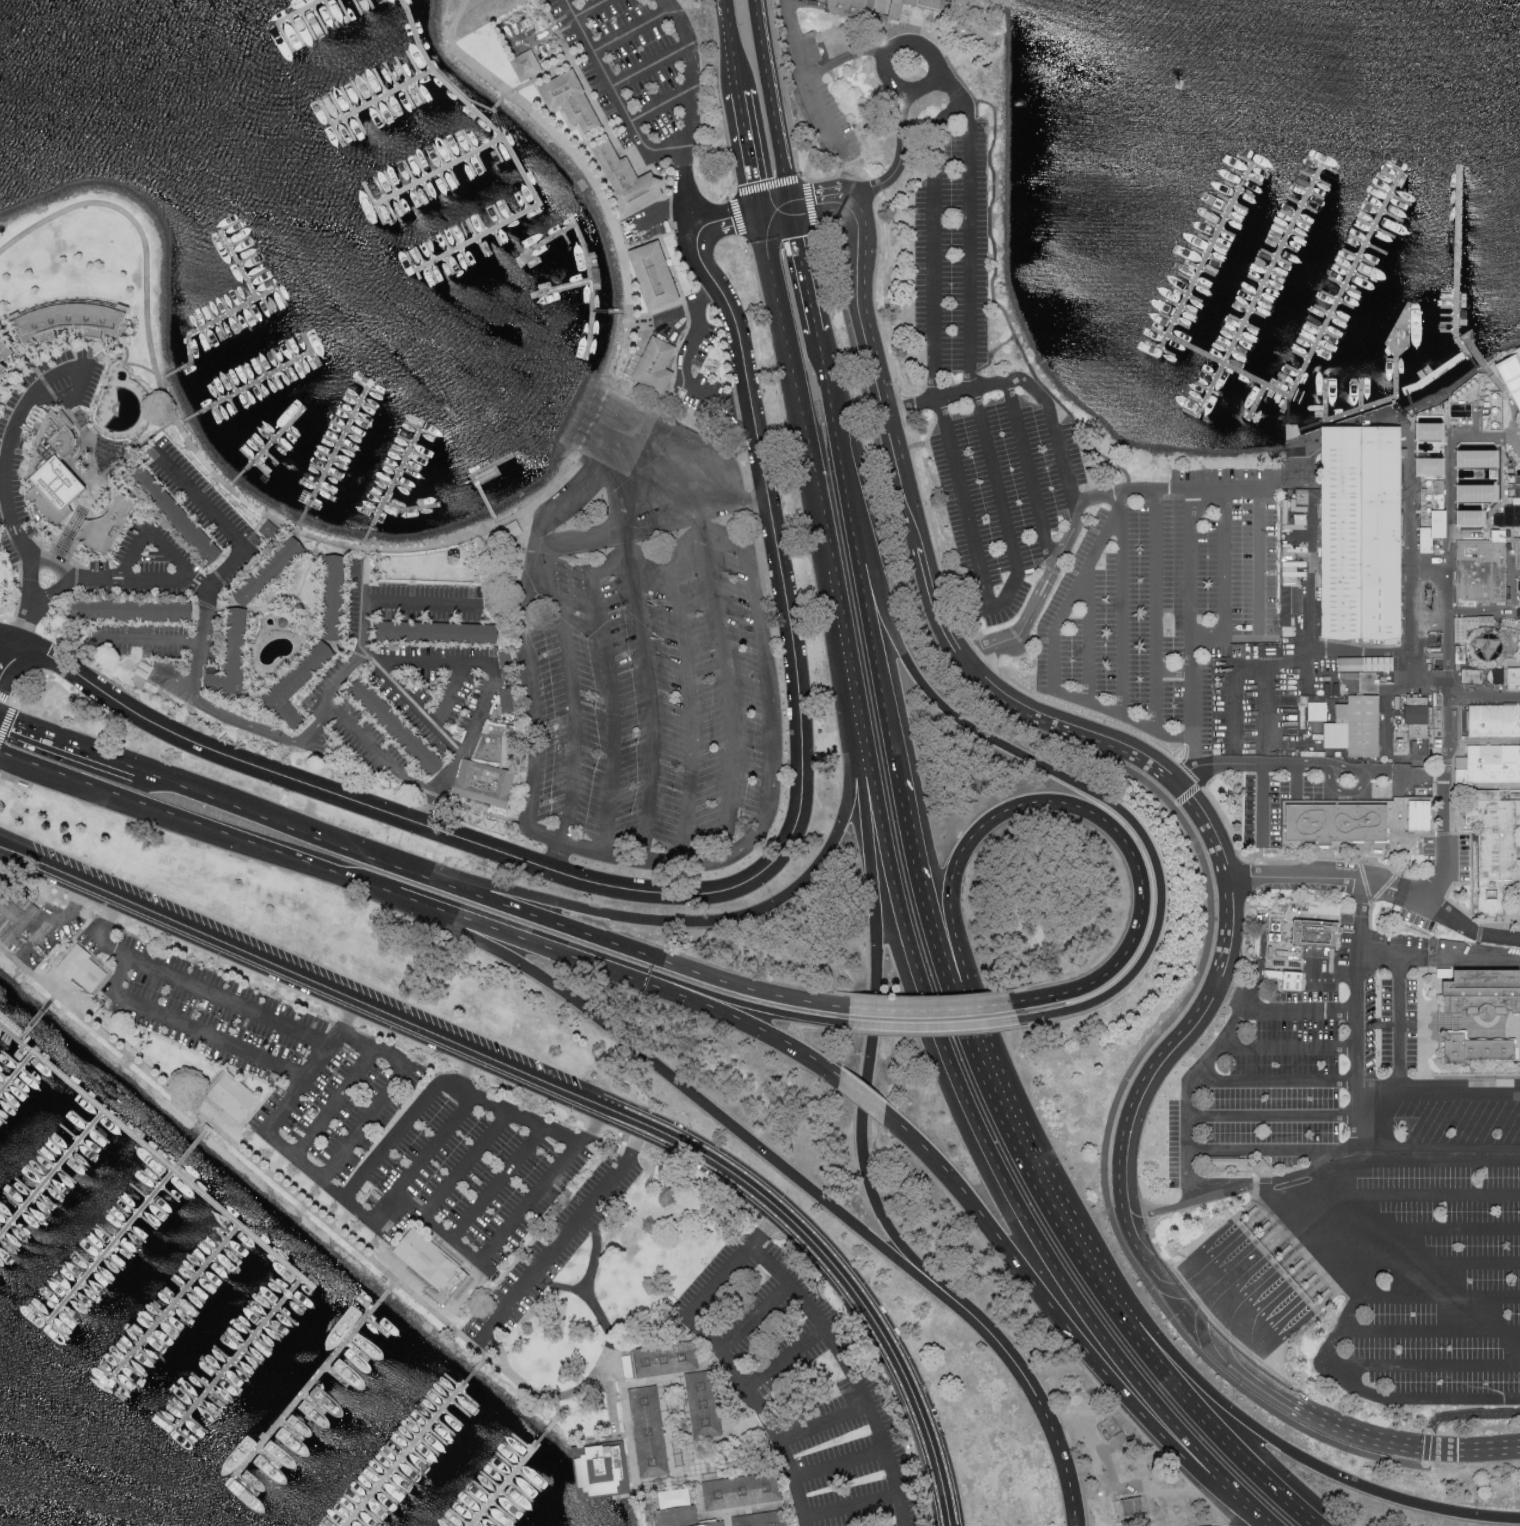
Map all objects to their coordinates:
road: (591, 8)
building: (875, 12)
pier: (302, 13)
road: (635, 30)
road: (922, 31)
building: (978, 34)
road: (795, 38)
road: (734, 49)
road: (850, 58)
building: (524, 64)
road: (652, 65)
road: (550, 67)
parking lot: (636, 74)
aerialway pylon: (1176, 85)
road: (614, 87)
pier: (383, 99)
building: (567, 99)
road: (777, 102)
road: (663, 105)
road: (687, 111)
parking lot: (824, 123)
road: (600, 131)
road: (833, 136)
road: (903, 140)
road: (751, 154)
pier: (515, 156)
pier: (465, 158)
road: (808, 162)
pier: (1255, 163)
pier: (1324, 164)
road: (972, 167)
pier: (1395, 168)
pier: (1248, 176)
pier: (1391, 176)
road: (594, 177)
building: (624, 178)
pier: (1317, 178)
road: (743, 190)
pier: (1241, 190)
pier: (1311, 192)
pier: (1395, 196)
pier: (1235, 203)
pier: (1304, 204)
traffic signals: (793, 205)
road: (777, 208)
traffic signals: (762, 211)
pier: (1387, 212)
road: (733, 215)
pier: (1229, 216)
road: (659, 217)
pier: (1297, 218)
pier: (1378, 228)
pier: (1222, 229)
pier: (1291, 231)
road: (643, 242)
pier: (1215, 242)
pier: (1284, 244)
pier: (1370, 245)
park: (80, 249)
pier: (1207, 255)
pier: (1209, 255)
road: (803, 257)
pier: (1278, 257)
pier: (1361, 258)
pier: (1460, 261)
pier: (590, 264)
pier: (241, 265)
pier: (1202, 268)
pier: (1271, 270)
pier: (1354, 271)
building: (650, 274)
pier: (1196, 281)
pier: (1265, 282)
pier: (1347, 284)
pier: (1347, 285)
pier: (562, 287)
pier: (1261, 291)
pier: (1452, 291)
pier: (1189, 294)
pier: (1258, 296)
pier: (1340, 299)
pier: (1452, 299)
pier: (1183, 307)
pier: (1451, 307)
pier: (1252, 309)
pier: (604, 313)
pier: (1333, 313)
pier: (1451, 315)
building: (74, 318)
road: (815, 320)
pier: (1175, 320)
pier: (1246, 323)
pier: (1451, 323)
pier: (204, 327)
pier: (1325, 329)
road: (685, 330)
pier: (1161, 331)
pier: (1451, 331)
pier: (1403, 332)
pier: (1239, 335)
pier: (1318, 343)
pier: (1161, 348)
pier: (1233, 349)
road: (989, 353)
pier: (1302, 354)
building: (5, 356)
road: (686, 362)
road: (1496, 363)
building: (653, 364)
road: (936, 367)
pier: (1294, 368)
road: (1489, 368)
pier: (1443, 371)
pier: (1211, 374)
pier: (1249, 375)
road: (794, 377)
building: (1509, 381)
stadium: (1509, 381)
pier: (1288, 383)
pier: (245, 387)
pier: (1205, 387)
pier: (1364, 394)
road: (1041, 395)
road: (1054, 396)
pier: (1388, 399)
pier: (1328, 400)
pier: (1198, 401)
pier: (1259, 402)
road: (911, 403)
parking lot: (989, 403)
theme park: (1403, 406)
pier: (1287, 407)
road: (1511, 408)
pier: (1191, 414)
building: (1444, 415)
road: (13, 427)
road: (836, 429)
building: (1427, 431)
road: (1515, 441)
pier: (269, 447)
parking lot: (13, 454)
road: (660, 456)
pier: (332, 458)
building: (1475, 458)
road: (1290, 460)
building: (1427, 466)
road: (1447, 470)
building: (54, 471)
road: (1030, 473)
road: (100, 477)
road: (1288, 480)
road: (224, 484)
road: (919, 489)
pier: (477, 490)
pier: (391, 491)
road: (733, 499)
road: (1001, 500)
pier: (409, 511)
building: (176, 516)
road: (222, 522)
building: (108, 526)
building: (512, 528)
theme park: (1396, 528)
road: (255, 529)
building: (268, 529)
building: (1429, 534)
building: (1357, 537)
building: (1516, 556)
road: (128, 558)
road: (1260, 559)
road: (57, 566)
road: (311, 569)
building: (271, 572)
road: (1404, 574)
building: (1478, 575)
road: (183, 577)
road: (926, 579)
road: (1125, 580)
road: (1227, 580)
road: (364, 585)
road: (77, 587)
road: (1075, 593)
building: (1287, 593)
road: (1039, 594)
park: (0, 597)
building: (338, 599)
road: (555, 599)
parking lot: (1164, 600)
road: (715, 603)
road: (209, 606)
road: (228, 608)
road: (1159, 609)
building: (135, 612)
road: (1307, 618)
road: (25, 622)
road: (1193, 627)
building: (1467, 627)
road: (281, 634)
road: (1091, 635)
building: (439, 636)
road: (9, 639)
road: (1037, 639)
road: (169, 644)
road: (877, 644)
building: (1487, 646)
road: (347, 649)
road: (1519, 650)
road: (1306, 656)
building: (232, 657)
road: (372, 657)
road: (9, 659)
building: (1363, 667)
road: (1176, 670)
building: (1512, 681)
building: (296, 686)
road: (1267, 689)
road: (610, 691)
road: (330, 693)
road: (1487, 693)
road: (647, 694)
road: (1237, 696)
building: (502, 698)
parking lot: (650, 704)
road: (482, 707)
road: (1386, 708)
road: (7, 710)
building: (1316, 710)
road: (691, 713)
road: (1454, 713)
road: (332, 716)
building: (1413, 716)
building: (1493, 722)
road: (532, 723)
building: (1315, 726)
building: (1351, 728)
building: (398, 729)
road: (773, 732)
road: (46, 737)
road: (462, 749)
road: (386, 766)
building: (1493, 766)
road: (1259, 768)
road: (12, 779)
road: (1298, 781)
building: (484, 785)
road: (1080, 785)
road: (1351, 793)
road: (1184, 796)
road: (1264, 805)
parking lot: (1275, 805)
road: (241, 810)
road: (172, 813)
road: (1090, 813)
building: (1417, 818)
building: (1334, 826)
road: (1190, 838)
building: (1492, 843)
road: (1259, 851)
road: (1294, 879)
road: (923, 880)
road: (1362, 883)
road: (379, 887)
road: (706, 892)
toll booth: (1394, 902)
road: (770, 903)
building: (13, 910)
road: (62, 915)
road: (1467, 931)
building: (1313, 937)
road: (617, 946)
road: (1394, 958)
road: (1473, 963)
road: (1336, 969)
building: (84, 970)
road: (282, 970)
road: (632, 977)
building: (1286, 978)
road: (1359, 987)
road: (213, 993)
building: (1479, 994)
road: (1228, 996)
road: (767, 1010)
road: (932, 1010)
road: (1428, 1021)
road: (1378, 1023)
road: (1450, 1023)
road: (1389, 1024)
road: (1399, 1025)
road: (1450, 1026)
pier: (30, 1027)
road: (192, 1027)
road: (1428, 1028)
road: (935, 1029)
road: (1489, 1033)
road: (1178, 1040)
road: (1216, 1045)
road: (1286, 1047)
building: (1471, 1050)
road: (867, 1058)
road: (948, 1063)
road: (1420, 1069)
pier: (16, 1073)
road: (1272, 1081)
road: (1459, 1091)
road: (1380, 1092)
road: (865, 1095)
road: (698, 1097)
building: (232, 1098)
road: (332, 1100)
road: (1277, 1116)
road: (1367, 1119)
road: (1014, 1122)
road: (545, 1127)
road: (401, 1128)
road: (1348, 1149)
road: (1258, 1150)
road: (1443, 1150)
pier: (176, 1153)
road: (462, 1159)
building: (1224, 1161)
road: (1318, 1161)
road: (1415, 1162)
road: (416, 1163)
building: (1258, 1166)
road: (331, 1168)
road: (947, 1172)
parking lot: (1370, 1174)
pier: (50, 1175)
road: (496, 1181)
road: (1426, 1193)
road: (1217, 1196)
road: (296, 1199)
road: (1272, 1208)
toll booth: (1246, 1209)
road: (1287, 1209)
street lamp: (1513, 1211)
pier: (223, 1216)
toll booth: (1254, 1216)
toll booth: (1260, 1222)
road: (1321, 1224)
road: (1293, 1225)
toll booth: (1267, 1229)
road: (1303, 1231)
road: (1446, 1231)
toll booth: (1273, 1236)
road: (1314, 1237)
road: (561, 1238)
road: (1322, 1241)
toll booth: (1282, 1244)
road: (494, 1245)
road: (1330, 1245)
road: (1201, 1246)
pier: (109, 1247)
road: (1339, 1248)
road: (1217, 1251)
road: (820, 1252)
road: (1137, 1253)
road: (1348, 1253)
road: (1223, 1254)
toll booth: (1291, 1254)
road: (1351, 1256)
road: (1234, 1258)
toll booth: (1295, 1258)
building: (426, 1259)
road: (1413, 1261)
road: (1468, 1263)
toll booth: (1303, 1265)
road: (1360, 1265)
road: (1252, 1269)
toll booth: (1308, 1271)
road: (1260, 1278)
toll booth: (1317, 1279)
road: (1102, 1281)
road: (559, 1284)
toll booth: (1323, 1285)
road: (587, 1289)
road: (1255, 1293)
toll booth: (1330, 1293)
road: (1193, 1296)
road: (1441, 1296)
road: (1264, 1298)
pier: (173, 1301)
road: (1285, 1307)
street lamp: (1514, 1314)
road: (753, 1317)
road: (1263, 1317)
road: (1290, 1327)
road: (1430, 1332)
road: (1206, 1346)
street lamp: (1439, 1347)
road: (1267, 1353)
road: (722, 1357)
road: (784, 1358)
building: (664, 1359)
building: (626, 1365)
road: (1425, 1366)
road: (850, 1370)
road: (675, 1373)
road: (1114, 1379)
road: (1255, 1380)
road: (1267, 1382)
parking lot: (799, 1385)
pier: (309, 1387)
road: (1381, 1395)
road: (610, 1399)
building: (703, 1404)
road: (1043, 1409)
road: (1470, 1413)
road: (822, 1423)
road: (1217, 1429)
building: (647, 1431)
road: (629, 1444)
road: (1424, 1446)
road: (1426, 1446)
pier: (408, 1449)
road: (1304, 1457)
road: (839, 1465)
building: (601, 1469)
pier: (506, 1479)
road: (671, 1483)
building: (741, 1491)
road: (627, 1493)
road: (700, 1501)
building: (1130, 1504)
road: (849, 1506)
road: (1257, 1515)
building: (681, 1516)
road: (726, 1520)
building: (761, 1520)

